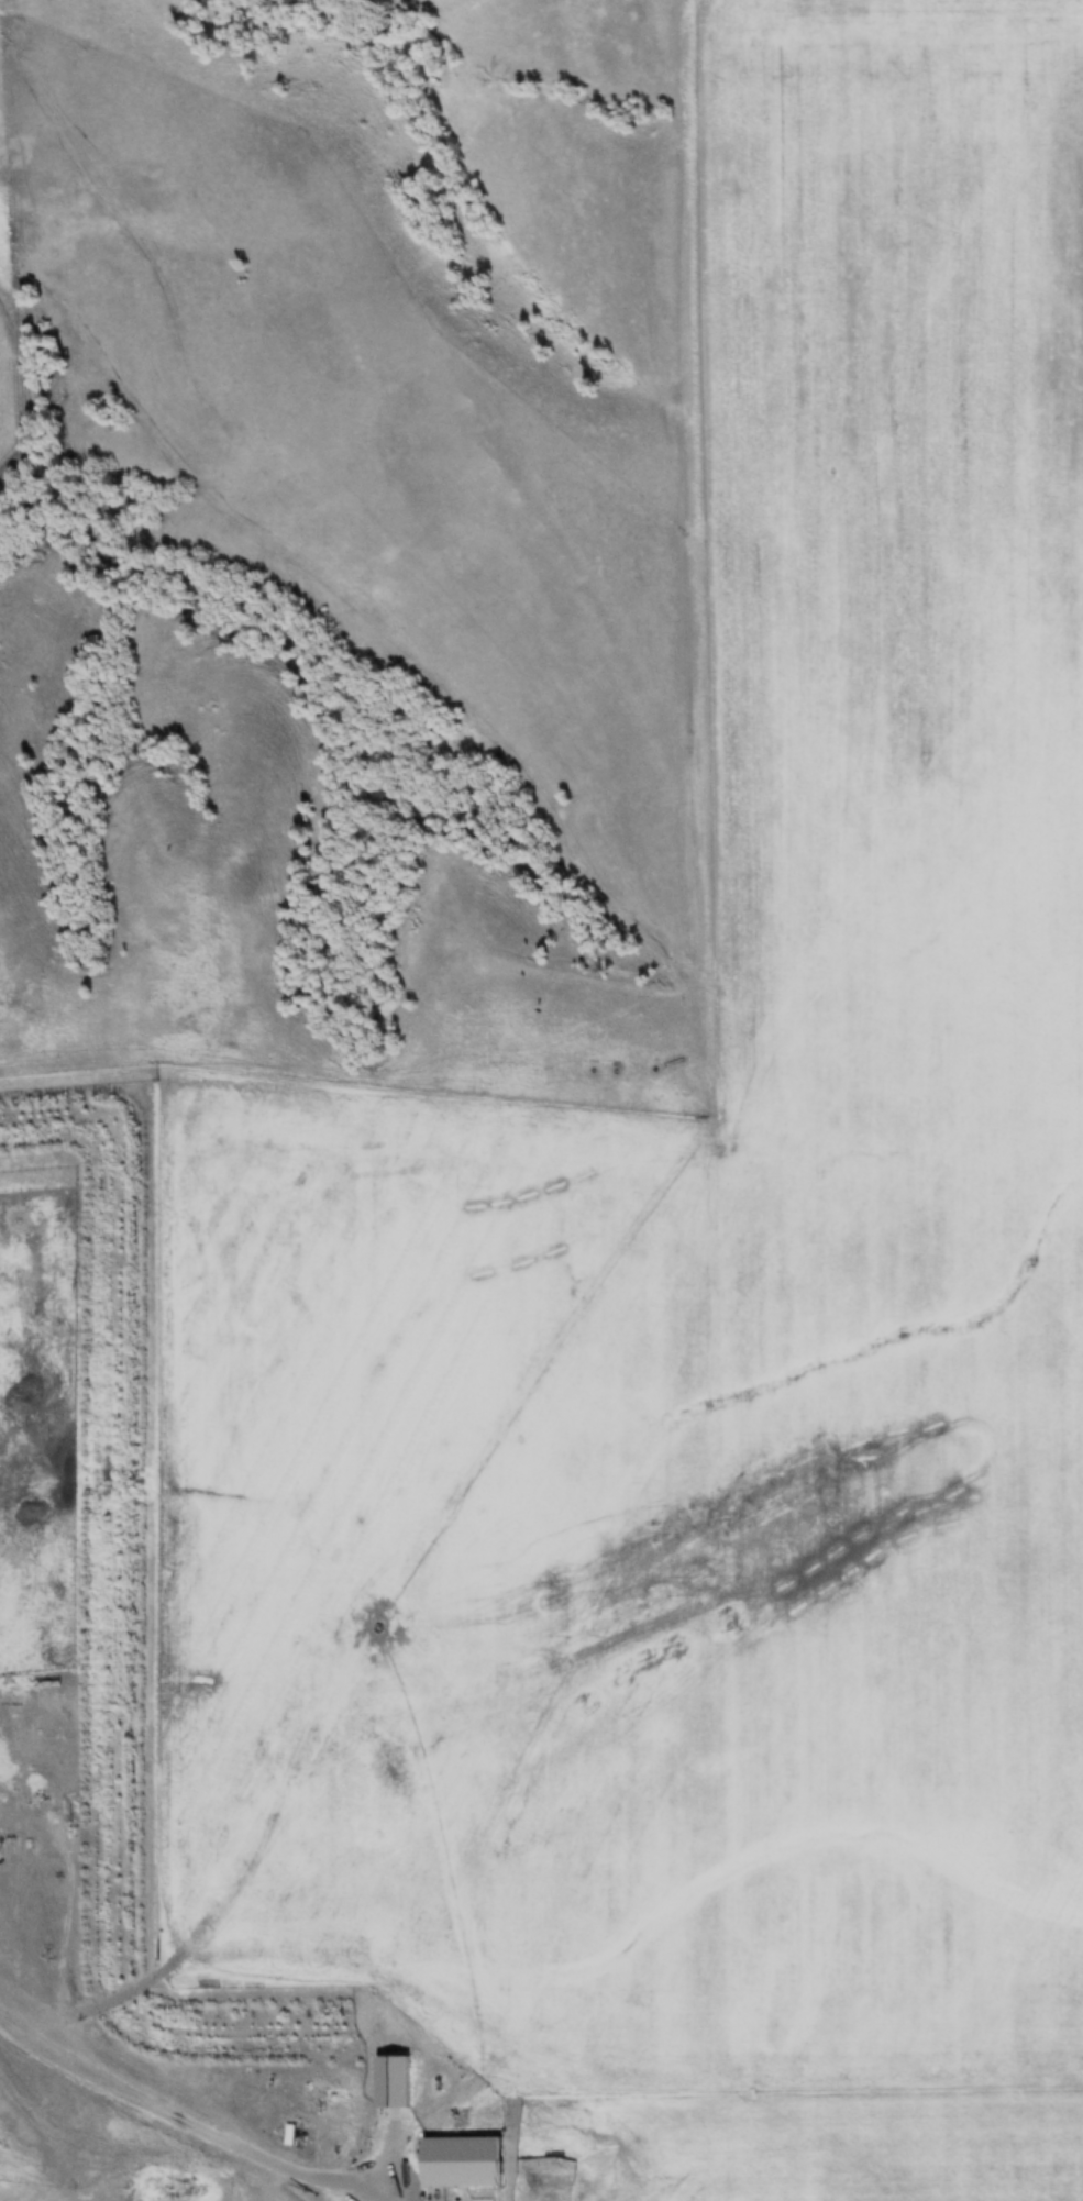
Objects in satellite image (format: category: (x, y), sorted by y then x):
road: (708, 871)
building: (397, 2079)
road: (159, 2115)
building: (291, 2136)
building: (468, 2157)
road: (344, 2192)

